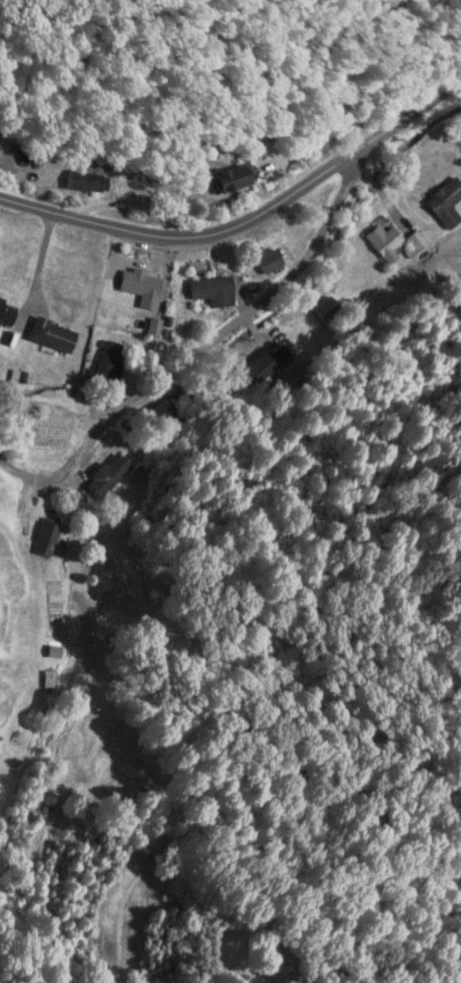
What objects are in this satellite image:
building: (242, 178)
building: (90, 181)
building: (447, 203)
road: (247, 218)
building: (271, 259)
building: (143, 287)
building: (216, 291)
building: (327, 310)
building: (8, 313)
building: (154, 326)
building: (55, 334)
road: (199, 347)
building: (113, 359)
building: (163, 410)
building: (110, 473)
building: (50, 538)
building: (49, 680)

